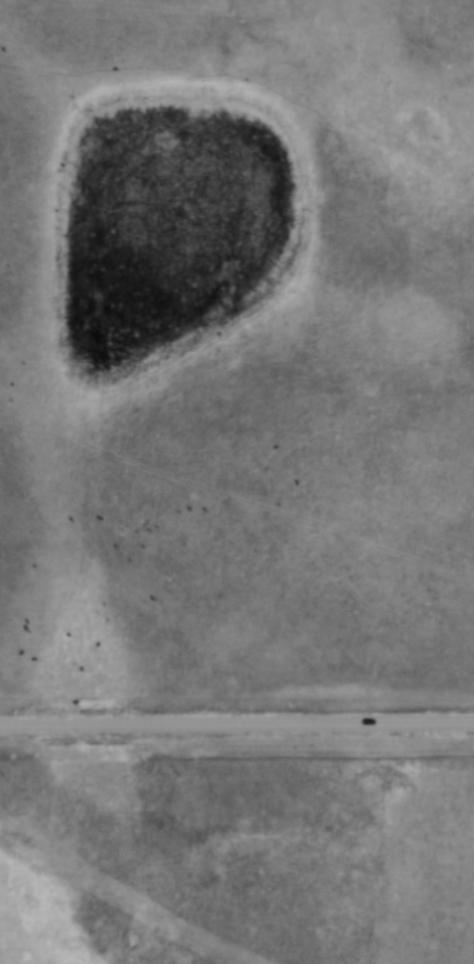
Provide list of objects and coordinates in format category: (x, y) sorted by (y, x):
road: (237, 726)

